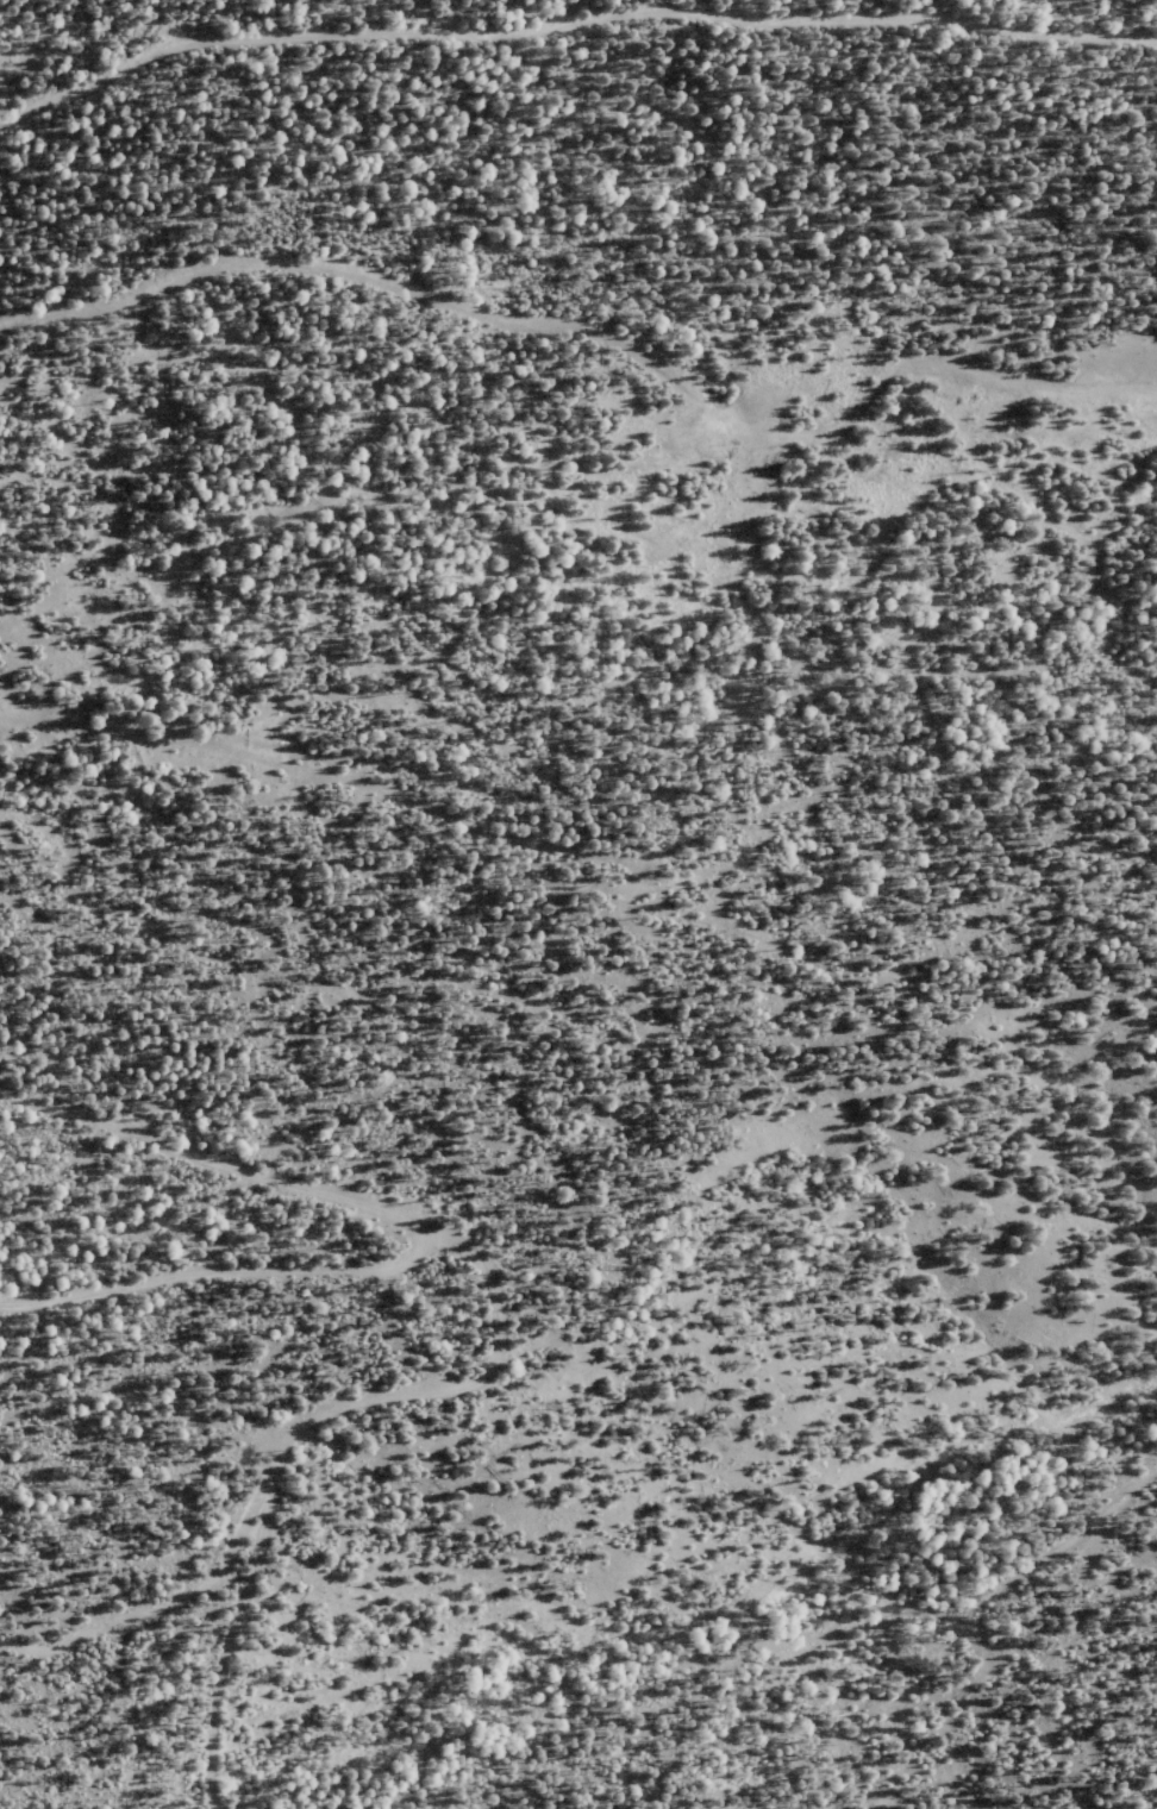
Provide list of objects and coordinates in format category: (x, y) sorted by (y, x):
road: (570, 25)
road: (507, 1323)

